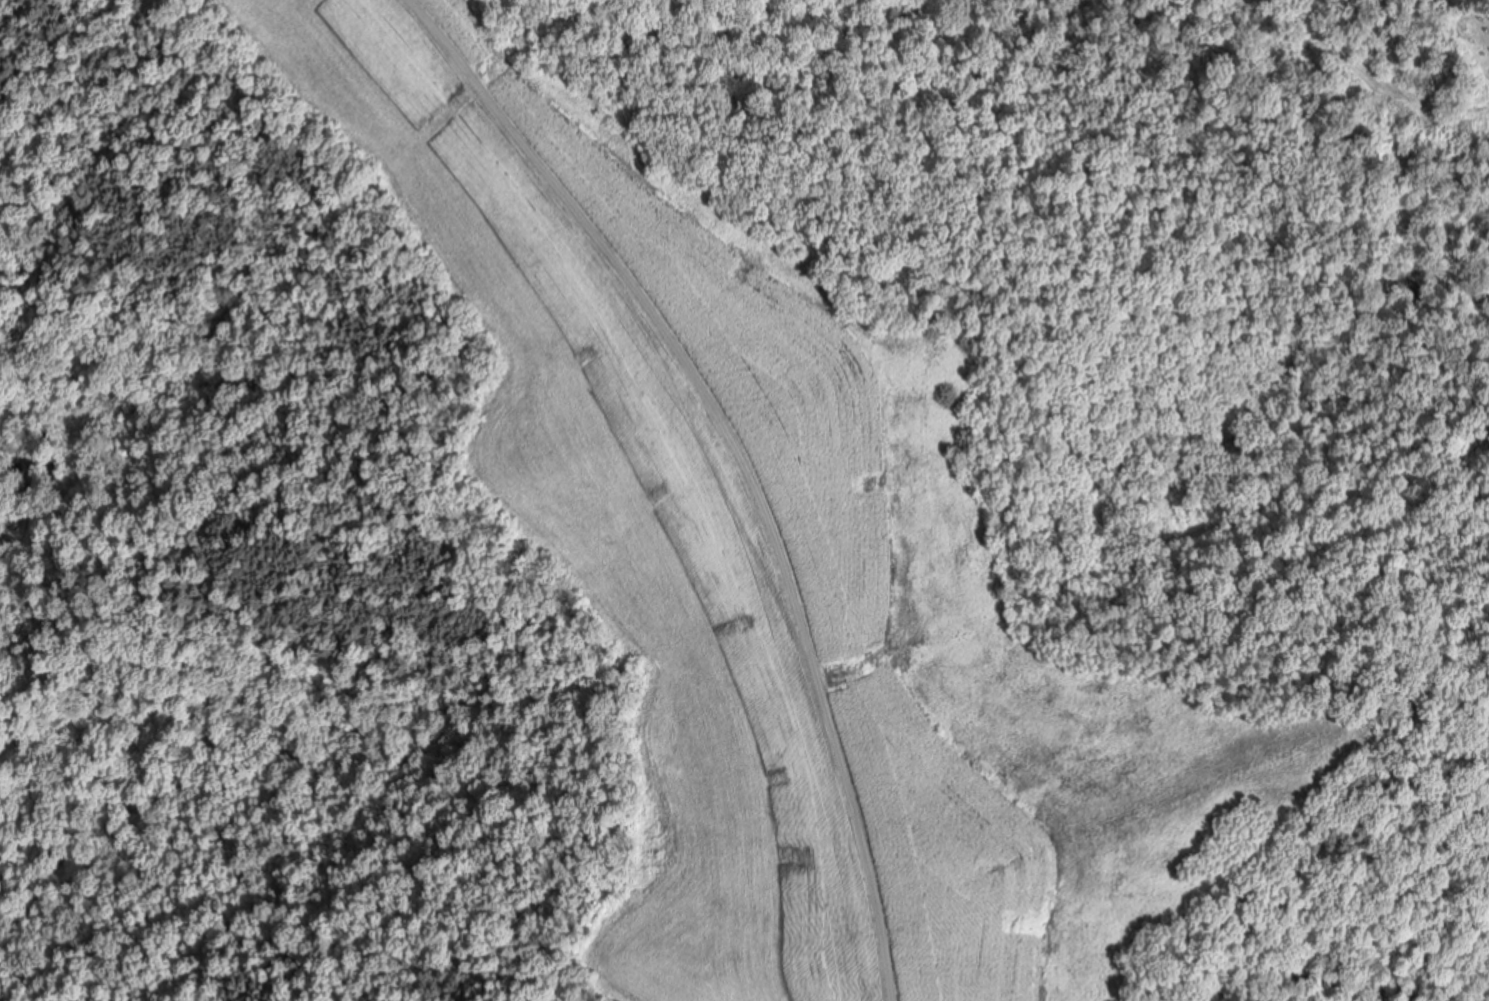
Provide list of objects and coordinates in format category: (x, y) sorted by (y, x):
road: (741, 456)

